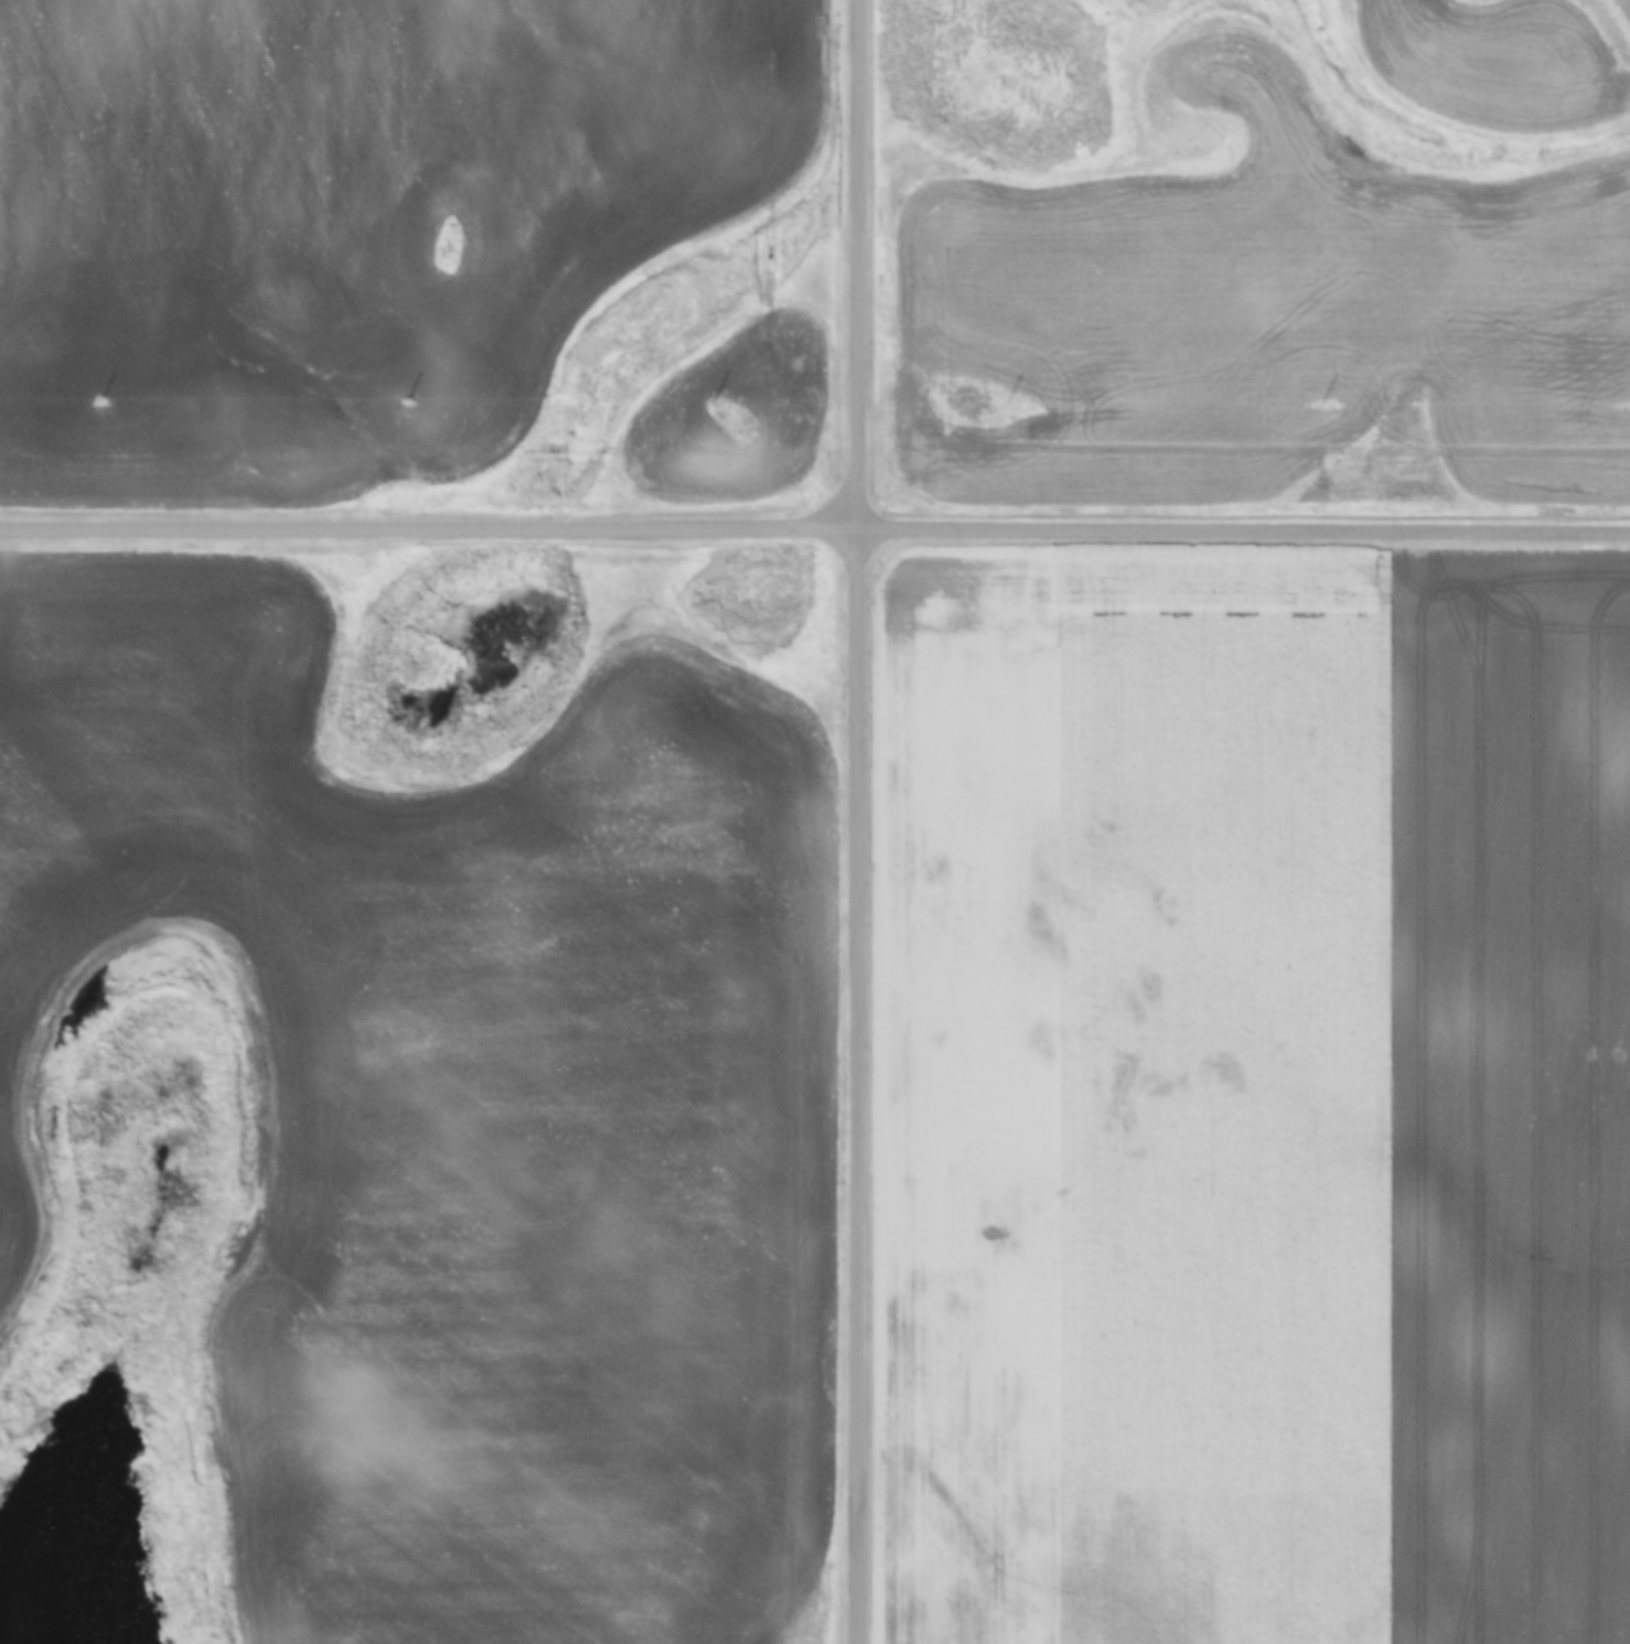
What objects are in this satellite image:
road: (815, 533)
road: (862, 821)

